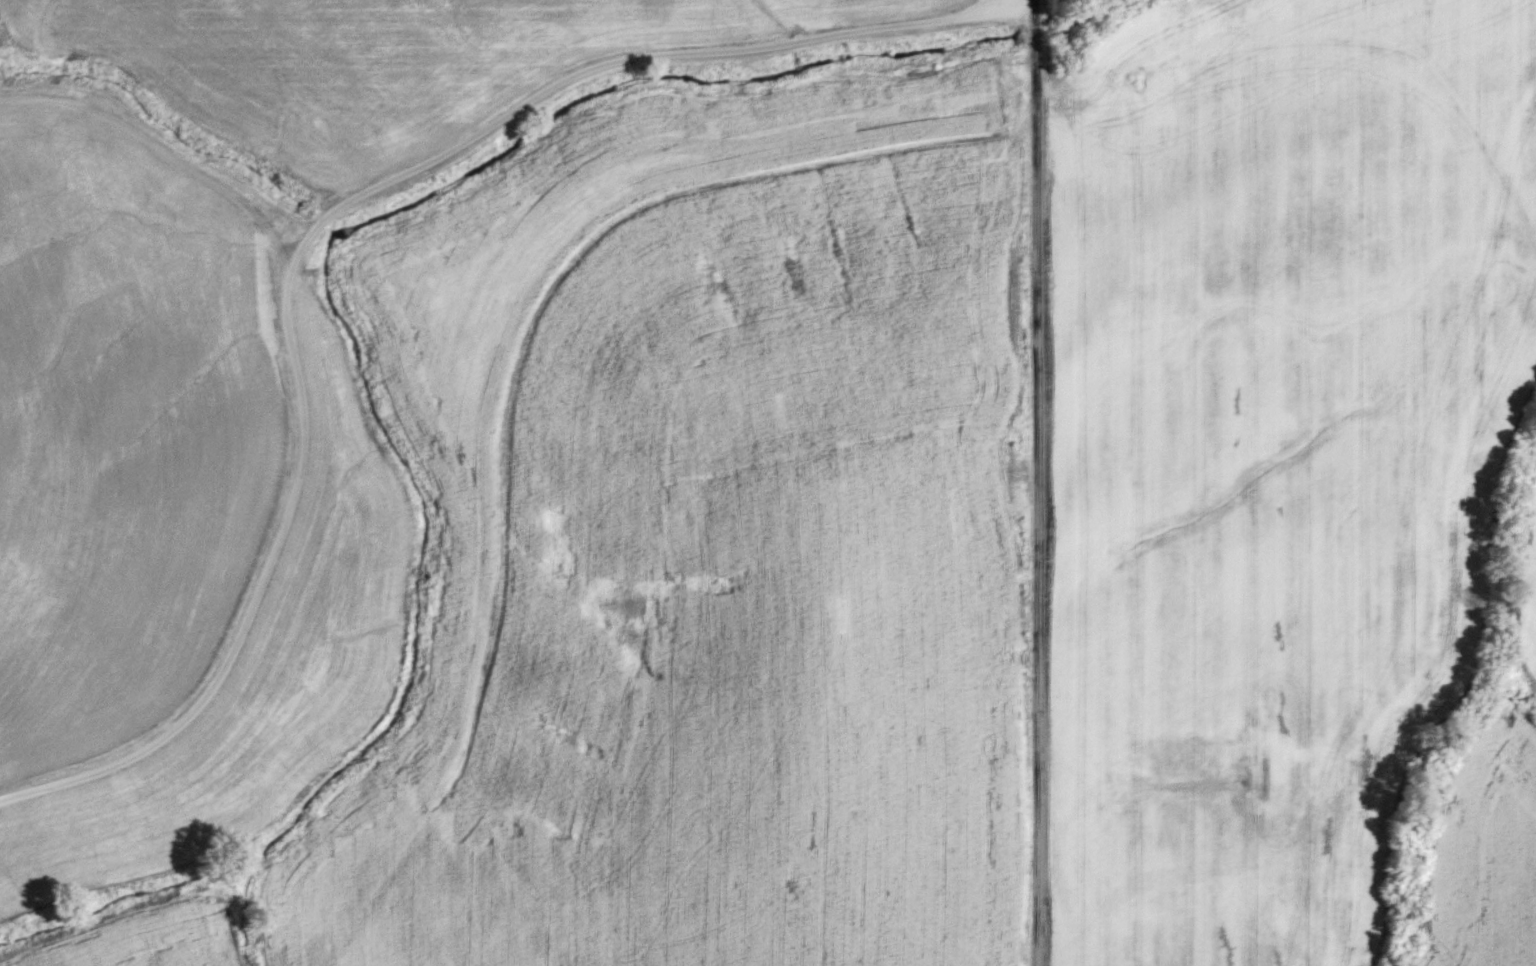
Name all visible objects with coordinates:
road: (1034, 3)
road: (327, 213)
building: (328, 287)
crop: (1272, 452)
road: (1034, 486)
crop: (712, 548)
crop: (1530, 572)
crop: (1486, 860)

